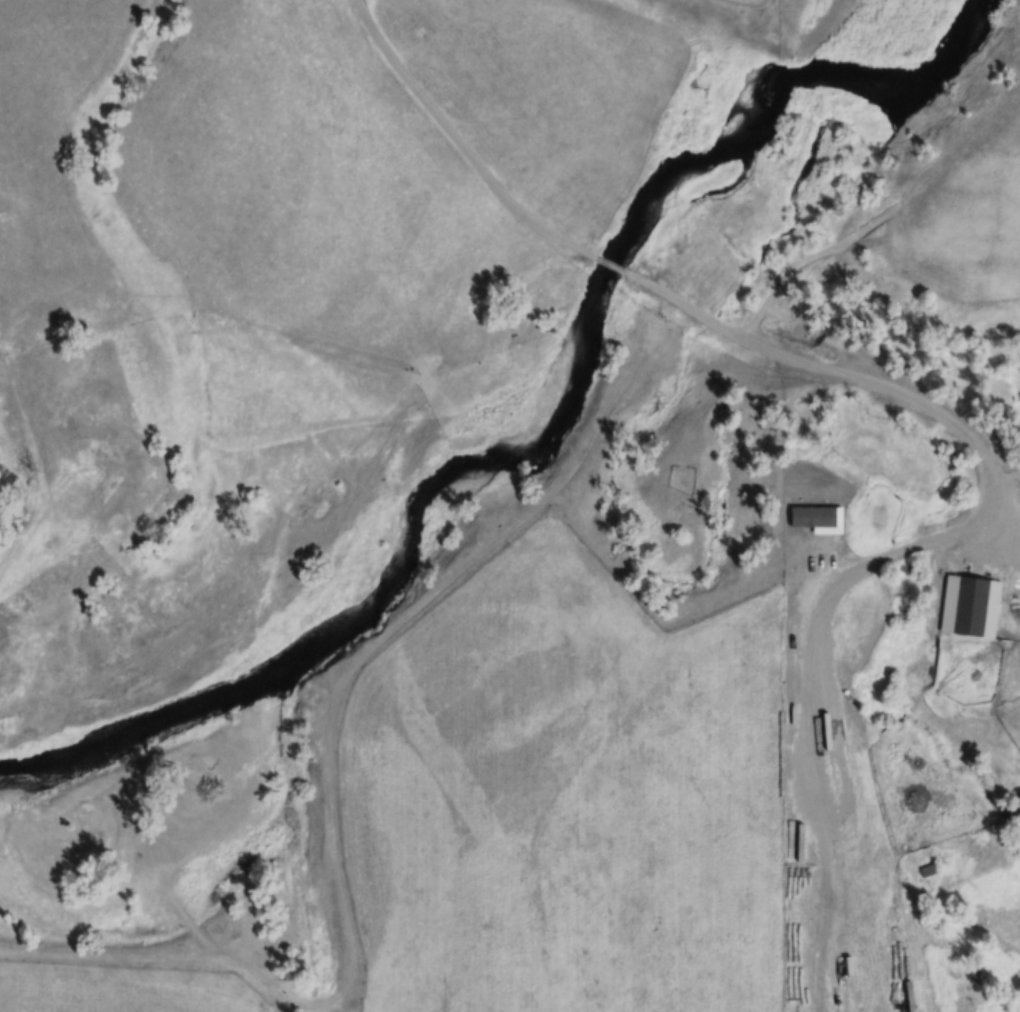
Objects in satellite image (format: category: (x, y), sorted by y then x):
river: (752, 99)
building: (814, 516)
building: (971, 606)
river: (354, 610)
building: (930, 870)
building: (910, 997)

